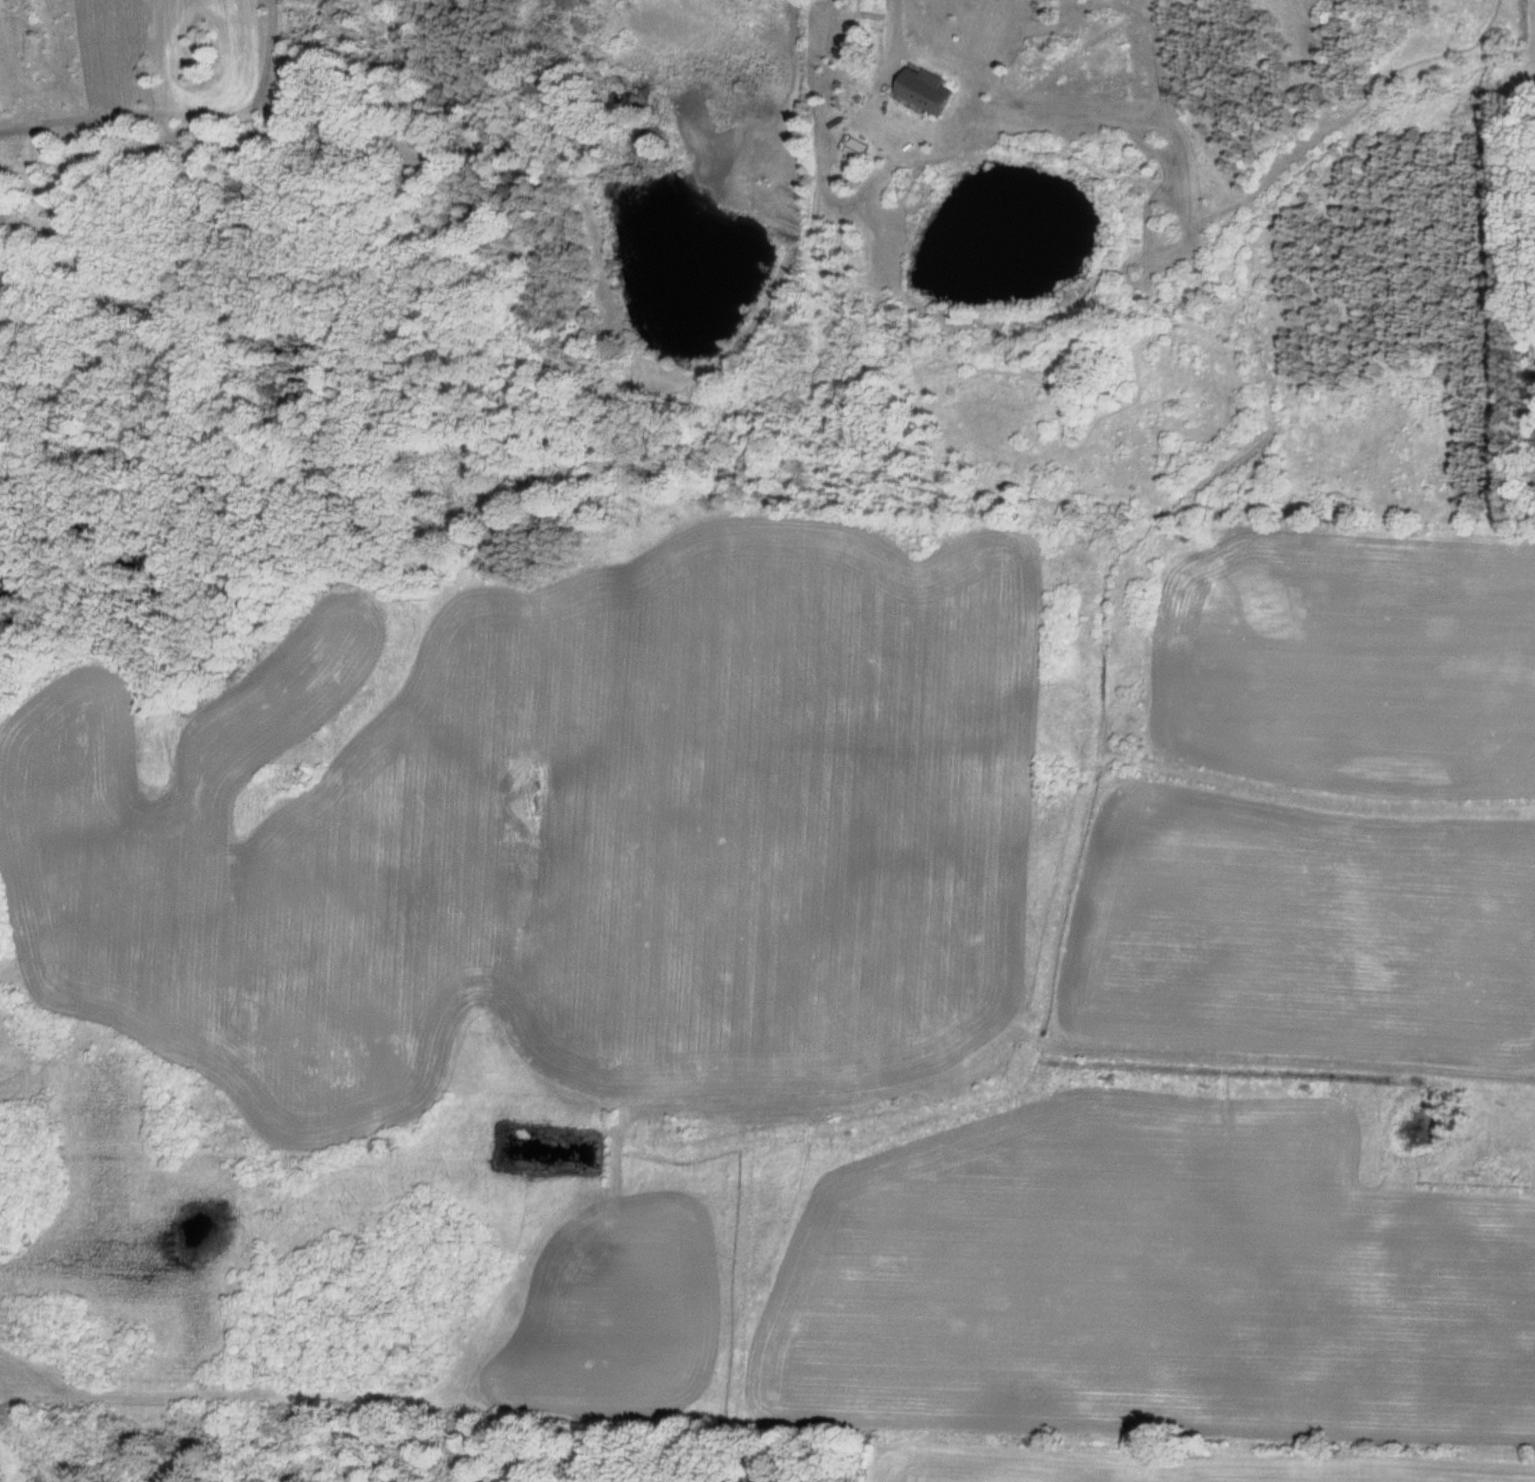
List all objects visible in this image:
building: (931, 89)

